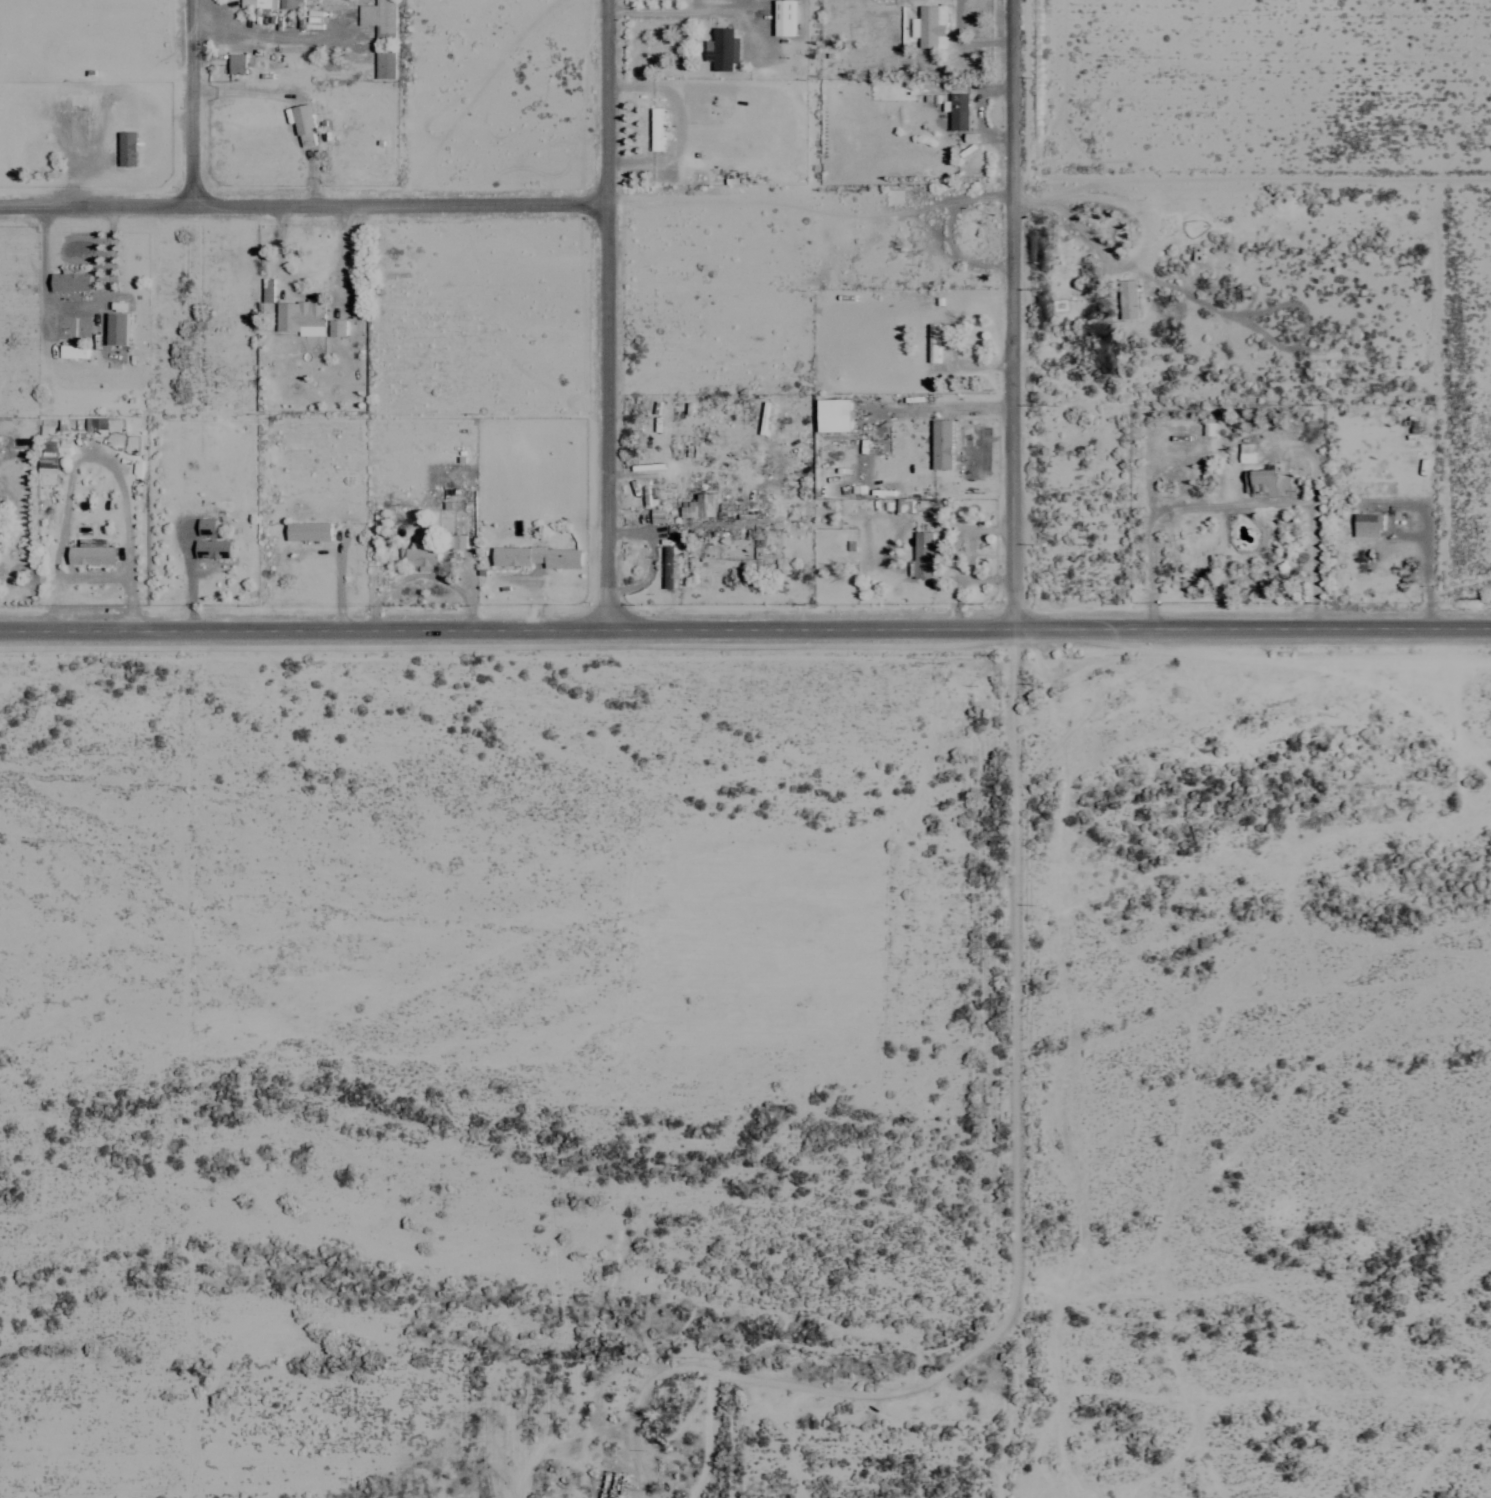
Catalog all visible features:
building: (272, 3)
road: (671, 11)
building: (780, 17)
building: (927, 25)
building: (381, 33)
building: (720, 49)
building: (61, 101)
building: (956, 110)
building: (305, 124)
building: (653, 128)
building: (75, 129)
building: (124, 147)
road: (303, 201)
building: (72, 280)
building: (1125, 299)
road: (1009, 311)
road: (191, 312)
road: (607, 312)
building: (302, 316)
building: (338, 327)
building: (118, 328)
building: (74, 350)
building: (830, 414)
building: (939, 443)
building: (1243, 452)
building: (47, 464)
building: (1263, 481)
building: (696, 506)
building: (1364, 524)
building: (207, 525)
road: (1432, 526)
building: (309, 530)
building: (458, 540)
building: (213, 548)
building: (93, 553)
building: (919, 554)
building: (540, 556)
building: (422, 557)
building: (668, 568)
road: (745, 626)

